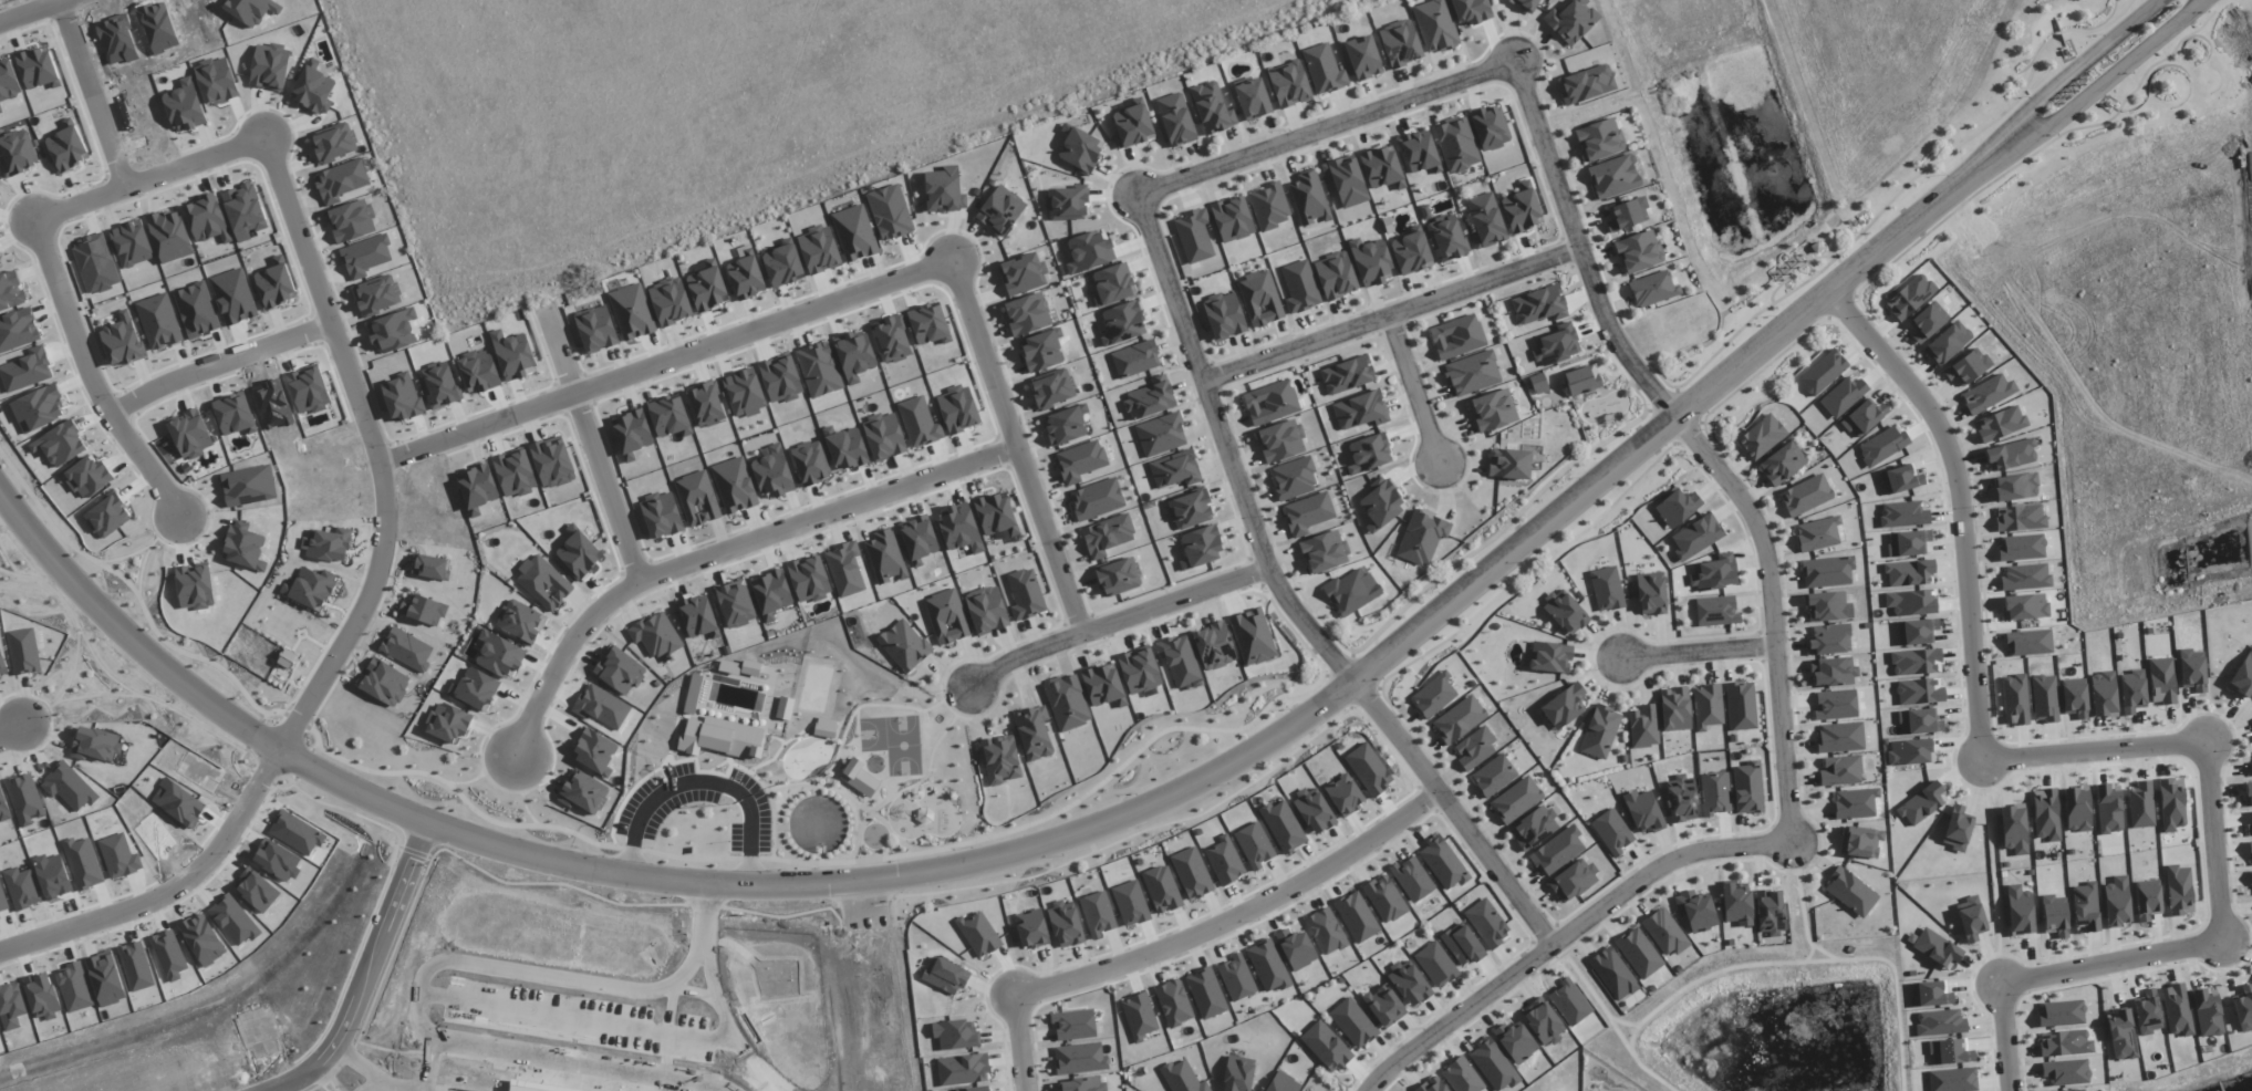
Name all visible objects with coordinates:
building: (1525, 4)
road: (17, 6)
building: (1472, 10)
building: (1571, 20)
building: (1435, 25)
building: (1400, 43)
building: (1363, 58)
building: (270, 66)
building: (1324, 69)
building: (1289, 84)
building: (1587, 84)
building: (313, 89)
road: (101, 93)
building: (1253, 98)
building: (185, 106)
building: (1212, 107)
building: (1176, 120)
building: (1132, 125)
road: (2036, 126)
building: (1491, 127)
building: (1599, 139)
building: (335, 143)
building: (1456, 144)
building: (66, 147)
building: (1080, 148)
building: (1419, 150)
building: (18, 153)
building: (1381, 167)
building: (1613, 176)
road: (273, 179)
building: (1346, 180)
building: (943, 189)
building: (1309, 198)
building: (1067, 204)
building: (1269, 206)
building: (1522, 208)
building: (1000, 210)
building: (245, 211)
building: (889, 212)
building: (1628, 214)
building: (1233, 219)
building: (1485, 220)
building: (854, 232)
road: (1149, 232)
building: (169, 236)
building: (1194, 236)
building: (1445, 237)
building: (819, 249)
building: (1089, 251)
building: (1411, 251)
building: (1639, 251)
building: (1371, 261)
building: (782, 266)
building: (1023, 273)
building: (1336, 276)
building: (746, 277)
building: (274, 283)
building: (1113, 284)
building: (707, 285)
building: (1300, 287)
building: (1652, 289)
building: (10, 291)
building: (377, 294)
building: (1910, 297)
building: (1260, 298)
building: (670, 301)
building: (1539, 304)
building: (632, 312)
building: (1027, 314)
building: (1224, 315)
building: (158, 321)
building: (1928, 321)
building: (1122, 323)
building: (928, 324)
road: (1392, 324)
building: (595, 329)
building: (17, 331)
building: (393, 331)
building: (1457, 336)
building: (890, 339)
building: (122, 340)
building: (1948, 343)
building: (1557, 344)
building: (1042, 351)
building: (513, 354)
building: (854, 355)
building: (1135, 359)
road: (663, 361)
building: (1968, 367)
road: (216, 368)
building: (819, 368)
building: (1823, 372)
building: (1472, 373)
building: (1347, 375)
building: (780, 380)
building: (1582, 380)
building: (1538, 383)
building: (439, 385)
building: (1052, 388)
building: (744, 393)
road: (1416, 393)
building: (1988, 394)
building: (1843, 396)
building: (1151, 398)
building: (1270, 402)
building: (705, 405)
building: (39, 408)
building: (958, 409)
building: (1361, 411)
building: (1493, 411)
building: (233, 414)
building: (668, 415)
building: (1864, 417)
building: (916, 423)
building: (2001, 424)
building: (1066, 425)
building: (190, 434)
building: (632, 434)
building: (1161, 434)
building: (1762, 437)
building: (886, 438)
road: (591, 439)
building: (1280, 440)
building: (61, 444)
building: (1882, 445)
road: (1016, 448)
building: (847, 449)
building: (1369, 454)
building: (2011, 455)
building: (1080, 460)
building: (552, 463)
building: (811, 464)
building: (1509, 464)
building: (1782, 464)
building: (1175, 469)
building: (515, 474)
building: (774, 474)
building: (94, 477)
building: (1294, 478)
building: (1901, 479)
building: (734, 486)
building: (477, 487)
building: (2016, 487)
building: (1806, 495)
building: (1097, 499)
building: (696, 501)
building: (1381, 506)
building: (1678, 507)
building: (1191, 509)
building: (1307, 513)
building: (107, 515)
building: (996, 515)
building: (1903, 515)
building: (660, 518)
building: (2020, 518)
building: (961, 531)
building: (1817, 533)
building: (1107, 536)
building: (1422, 537)
building: (1696, 537)
building: (917, 541)
building: (1908, 543)
building: (328, 544)
building: (1201, 547)
building: (2021, 547)
building: (245, 549)
road: (722, 549)
building: (1325, 552)
building: (577, 554)
building: (884, 558)
building: (430, 567)
building: (844, 570)
building: (1827, 571)
building: (1909, 572)
building: (1714, 573)
building: (1119, 576)
building: (2025, 576)
building: (809, 582)
building: (541, 585)
building: (195, 586)
building: (311, 588)
building: (1607, 589)
building: (1351, 591)
building: (770, 594)
building: (1025, 594)
building: (1651, 594)
building: (1911, 602)
building: (735, 605)
building: (1827, 605)
building: (2024, 606)
building: (424, 610)
building: (986, 610)
building: (1715, 611)
building: (1565, 612)
building: (698, 616)
building: (946, 616)
building: (519, 622)
road: (1114, 622)
building: (1917, 631)
road: (126, 634)
building: (1253, 636)
building: (653, 637)
building: (1829, 638)
building: (2028, 643)
building: (904, 645)
building: (1214, 646)
building: (407, 648)
road: (1699, 652)
building: (499, 655)
building: (1550, 657)
building: (288, 658)
building: (1179, 659)
building: (1916, 662)
building: (748, 667)
building: (2192, 669)
building: (1140, 671)
building: (618, 672)
building: (1833, 672)
building: (2242, 676)
building: (2161, 680)
building: (384, 683)
building: (1102, 685)
building: (475, 688)
building: (1920, 690)
building: (2132, 692)
building: (2104, 694)
building: (1434, 695)
building: (2045, 697)
building: (2015, 699)
building: (2075, 700)
building: (1067, 703)
building: (1740, 705)
building: (1835, 705)
building: (1564, 706)
building: (1708, 706)
building: (1675, 708)
building: (600, 709)
building: (1460, 719)
building: (1920, 721)
building: (447, 723)
building: (1643, 726)
building: (824, 730)
road: (13, 731)
building: (1600, 731)
building: (1034, 732)
building: (722, 736)
building: (1840, 737)
park: (893, 741)
building: (95, 744)
building: (1474, 748)
road: (2103, 748)
road: (1238, 751)
building: (1910, 751)
building: (592, 754)
fountain: (809, 758)
building: (999, 759)
park: (795, 761)
building: (2251, 767)
building: (1368, 769)
building: (1840, 770)
building: (1494, 776)
building: (859, 777)
road: (703, 778)
building: (1747, 788)
building: (1714, 793)
building: (2248, 793)
building: (1345, 794)
building: (580, 797)
building: (1516, 799)
building: (1682, 799)
building: (1855, 803)
building: (1922, 803)
building: (2140, 804)
building: (2171, 804)
building: (2076, 809)
building: (2108, 809)
building: (1314, 811)
building: (1643, 812)
building: (2046, 814)
building: (1283, 825)
building: (1534, 828)
building: (1957, 829)
building: (2014, 829)
building: (2249, 829)
building: (1612, 832)
building: (1860, 841)
building: (1254, 845)
road: (1770, 845)
building: (2250, 848)
building: (1557, 850)
building: (118, 856)
building: (1225, 861)
building: (1443, 862)
building: (82, 863)
building: (1192, 873)
building: (2251, 877)
building: (1412, 879)
building: (1573, 880)
road: (166, 885)
building: (1162, 889)
building: (2179, 890)
building: (1850, 892)
building: (1384, 898)
building: (2117, 902)
building: (2147, 902)
building: (1130, 903)
road: (706, 904)
building: (1736, 904)
building: (2086, 907)
building: (1696, 910)
building: (2020, 911)
building: (1771, 912)
building: (1098, 914)
building: (2054, 914)
building: (1357, 916)
building: (1972, 918)
building: (1487, 923)
building: (1066, 925)
building: (1031, 928)
building: (1326, 932)
building: (1664, 932)
building: (978, 934)
road: (1192, 936)
building: (1462, 945)
building: (1296, 948)
building: (1938, 948)
building: (1638, 953)
road: (694, 955)
road: (713, 958)
building: (1435, 964)
building: (1268, 966)
road: (366, 974)
building: (1613, 974)
building: (946, 975)
road: (700, 977)
building: (1236, 978)
road: (888, 983)
building: (1409, 983)
building: (30, 984)
road: (464, 984)
road: (869, 984)
building: (74, 988)
building: (1206, 993)
building: (1931, 994)
road: (676, 997)
building: (1569, 1001)
building: (1173, 1002)
building: (1384, 1005)
building: (2177, 1009)
building: (2243, 1009)
building: (2061, 1012)
building: (2148, 1012)
building: (2207, 1014)
park: (1775, 1015)
building: (1139, 1016)
building: (1542, 1020)
building: (1353, 1022)
building: (1940, 1022)
building: (1073, 1025)
building: (956, 1033)
building: (0, 1035)
building: (2121, 1035)
building: (1515, 1041)
building: (2065, 1042)
building: (1326, 1046)
road: (567, 1047)
building: (1950, 1051)
road: (433, 1058)
building: (1080, 1058)
building: (1493, 1064)
building: (963, 1069)
road: (340, 1070)
building: (2065, 1071)
road: (387, 1073)
building: (1238, 1074)
building: (1462, 1077)
building: (1182, 1078)
building: (1952, 1080)
building: (1283, 1083)
building: (530, 1084)
building: (1082, 1084)
building: (1432, 1084)
building: (625, 1088)
building: (2071, 1090)

